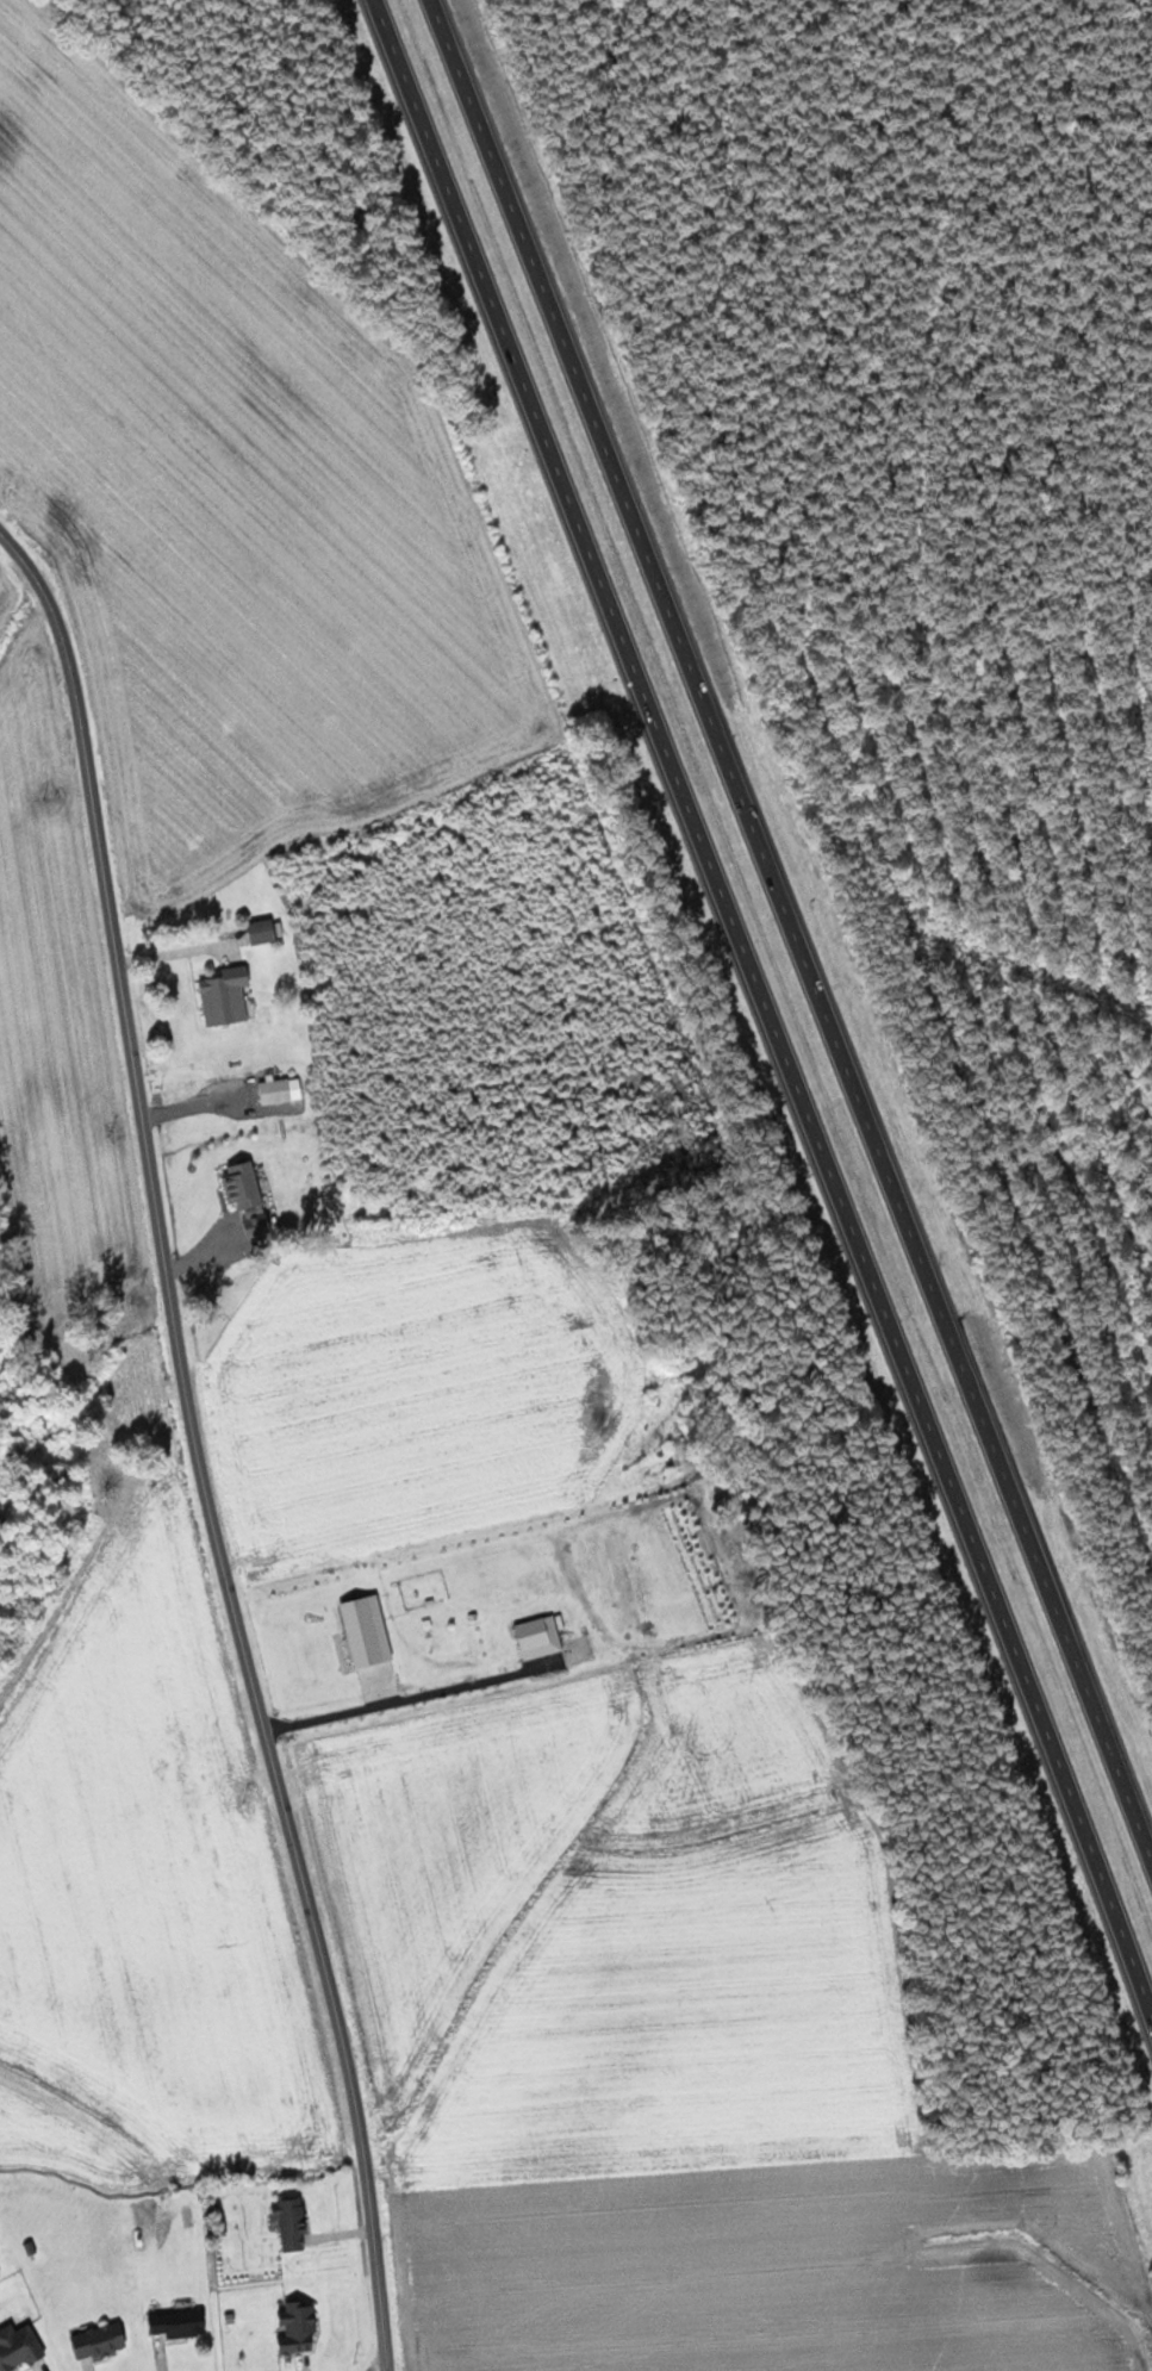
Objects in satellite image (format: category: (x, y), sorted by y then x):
building: (266, 931)
road: (799, 935)
building: (229, 995)
road: (766, 1004)
building: (278, 1089)
building: (278, 1108)
building: (251, 1202)
road: (198, 1444)
building: (368, 1631)
building: (541, 1637)
building: (293, 2223)
building: (181, 2322)
building: (299, 2328)
building: (102, 2339)
building: (20, 2346)

